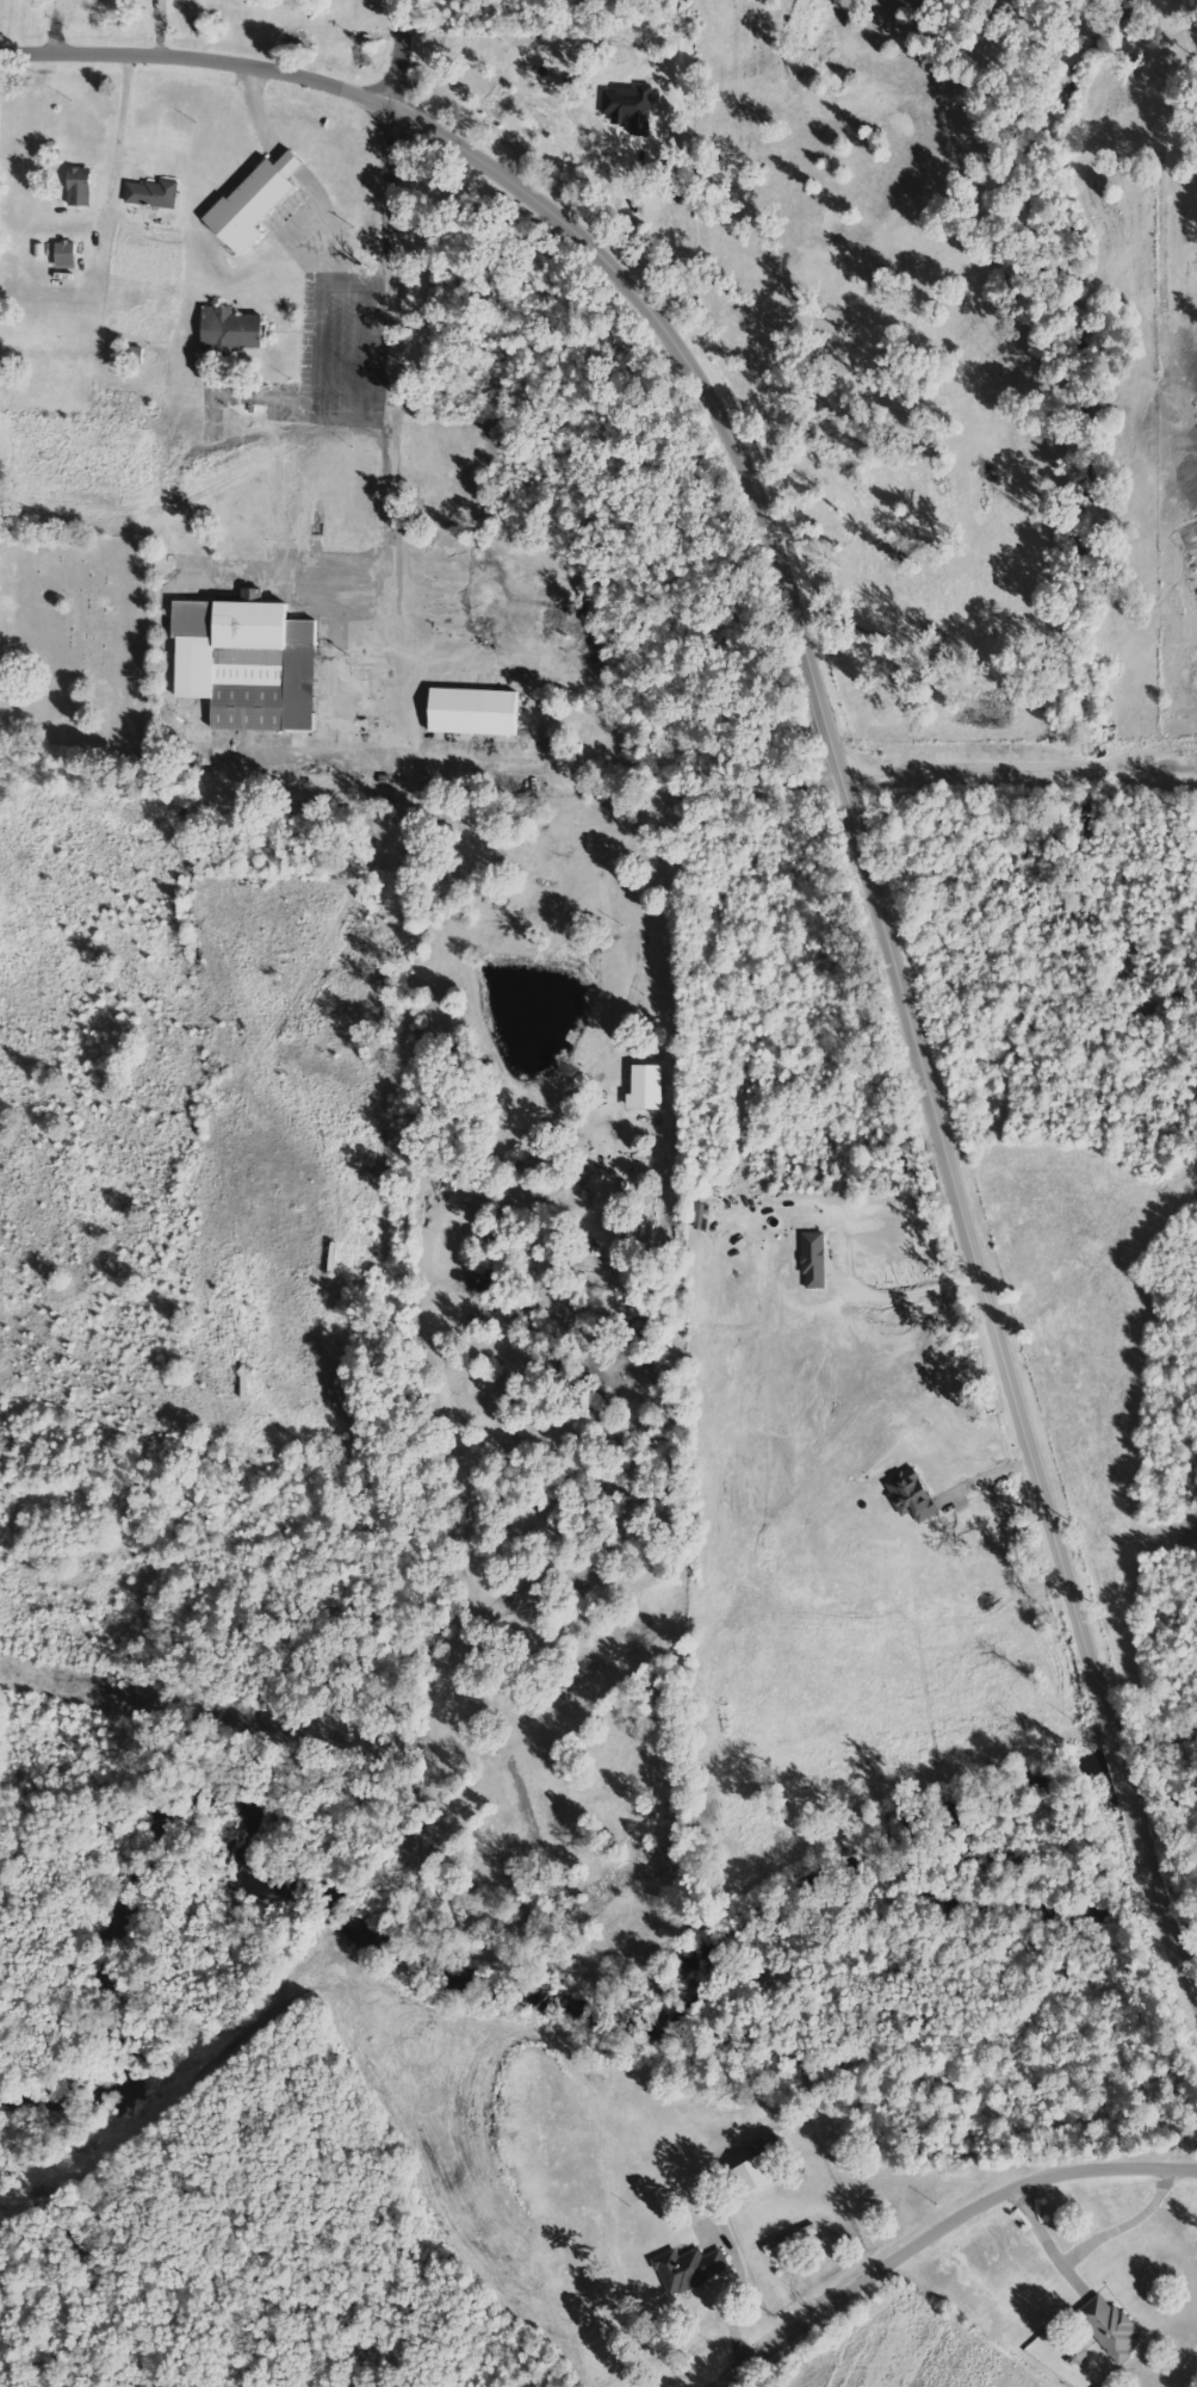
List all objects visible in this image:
road: (402, 54)
building: (631, 108)
building: (80, 187)
building: (154, 194)
building: (255, 203)
building: (67, 255)
building: (232, 330)
building: (249, 664)
building: (476, 713)
road: (850, 777)
building: (815, 1260)
road: (922, 1296)
building: (913, 1495)
building: (761, 2151)
road: (943, 2236)
building: (691, 2269)
building: (1111, 2327)

